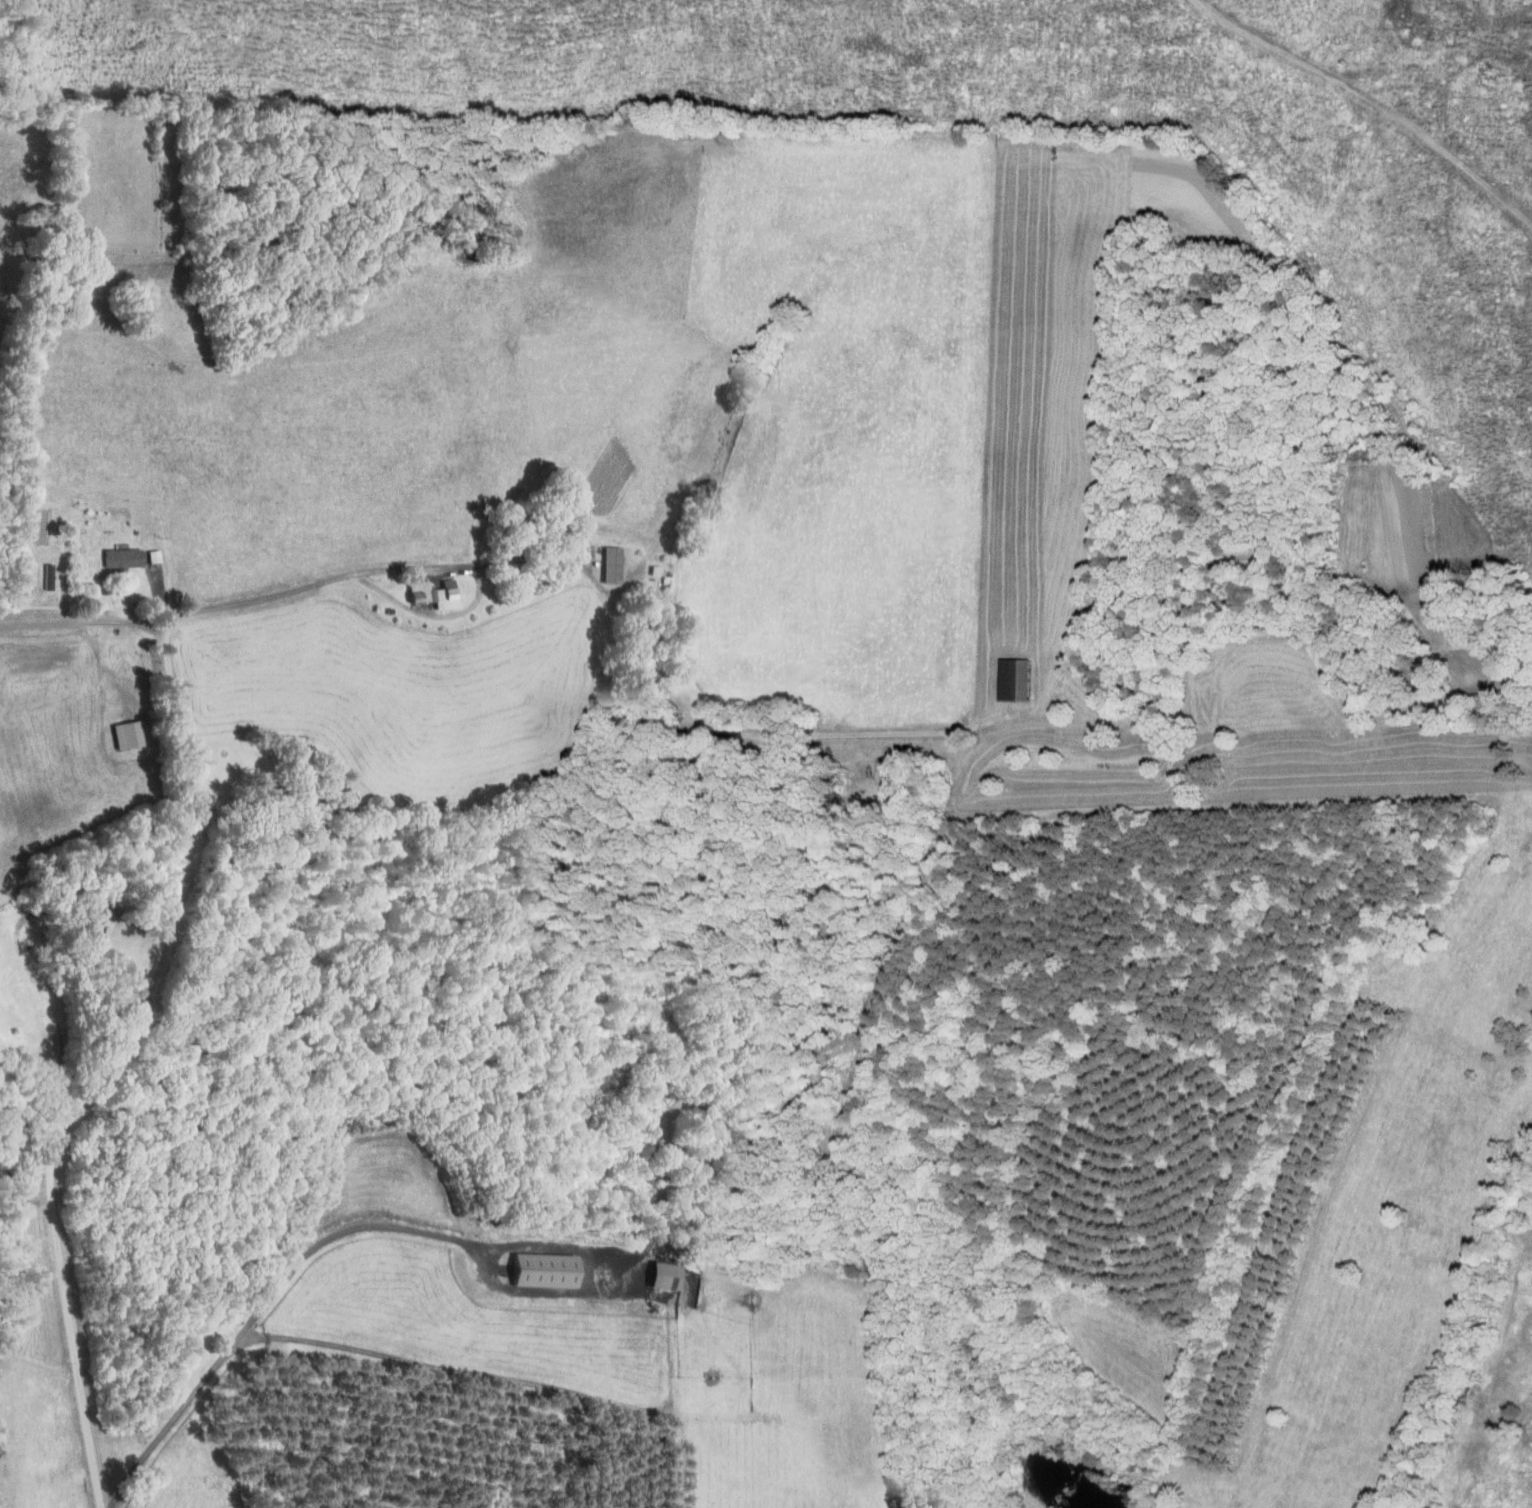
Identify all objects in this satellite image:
building: (152, 555)
building: (119, 557)
building: (609, 564)
road: (604, 590)
building: (430, 593)
road: (432, 614)
road: (83, 622)
building: (1010, 679)
building: (122, 734)
road: (251, 798)
road: (137, 904)
road: (69, 1032)
road: (119, 1048)
building: (539, 1270)
building: (660, 1276)
road: (266, 1304)

